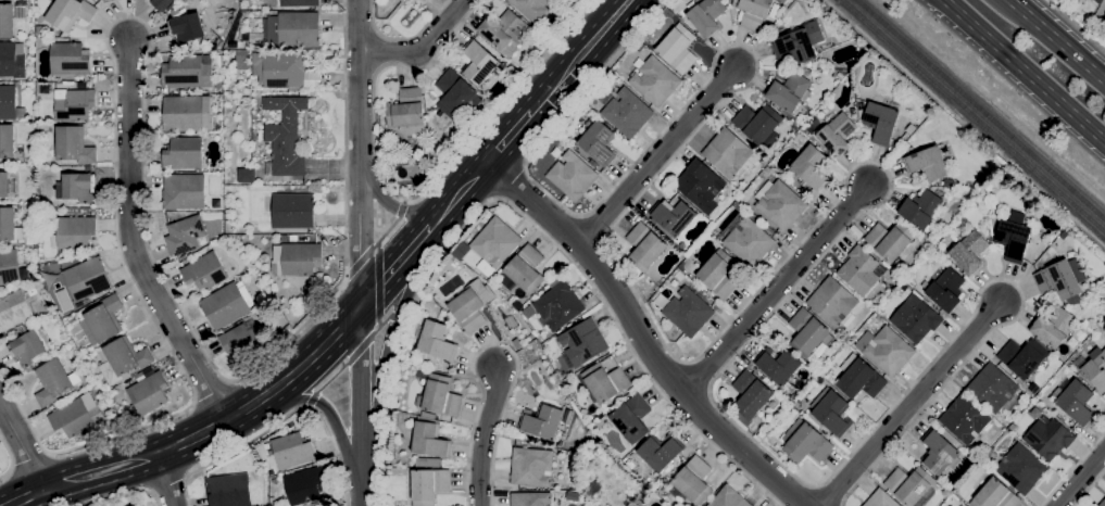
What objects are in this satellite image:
building: (100, 0)
building: (176, 0)
building: (401, 0)
building: (423, 0)
building: (108, 1)
building: (418, 1)
building: (781, 1)
building: (1097, 2)
building: (298, 3)
building: (576, 3)
building: (164, 4)
building: (536, 8)
building: (20, 10)
building: (774, 11)
building: (70, 13)
building: (753, 13)
building: (705, 16)
road: (922, 18)
building: (7, 21)
building: (777, 23)
road: (1076, 25)
building: (186, 29)
building: (298, 29)
building: (541, 29)
building: (504, 30)
road: (403, 39)
road: (1057, 40)
building: (799, 42)
road: (422, 48)
building: (677, 49)
road: (579, 55)
building: (10, 59)
building: (68, 60)
building: (478, 62)
building: (279, 69)
building: (188, 72)
building: (512, 72)
road: (1021, 72)
building: (839, 76)
building: (654, 81)
road: (143, 89)
building: (789, 92)
building: (453, 93)
building: (9, 104)
building: (74, 105)
railway: (980, 110)
building: (626, 113)
building: (183, 114)
building: (406, 114)
railway: (972, 116)
building: (877, 121)
building: (757, 123)
building: (836, 135)
building: (252, 136)
building: (284, 137)
road: (507, 137)
building: (7, 142)
building: (599, 143)
building: (74, 146)
road: (359, 153)
building: (727, 153)
building: (184, 154)
road: (656, 155)
building: (926, 164)
building: (811, 168)
building: (768, 169)
building: (246, 176)
building: (572, 176)
road: (505, 182)
building: (5, 185)
building: (76, 187)
building: (700, 187)
building: (184, 192)
road: (457, 193)
road: (404, 202)
road: (402, 203)
building: (779, 204)
road: (392, 206)
building: (920, 208)
building: (292, 211)
building: (673, 216)
road: (528, 222)
building: (9, 225)
road: (814, 227)
building: (73, 232)
building: (185, 235)
building: (284, 238)
building: (292, 238)
building: (1013, 238)
road: (378, 240)
building: (746, 240)
road: (131, 241)
building: (889, 241)
building: (494, 242)
building: (29, 243)
building: (644, 246)
building: (461, 251)
building: (969, 252)
building: (184, 257)
building: (296, 258)
road: (394, 266)
building: (11, 268)
building: (525, 269)
building: (858, 270)
building: (204, 273)
building: (718, 274)
road: (347, 276)
building: (679, 276)
building: (87, 279)
building: (1057, 280)
building: (507, 283)
road: (379, 284)
road: (776, 290)
building: (945, 290)
building: (32, 291)
building: (831, 302)
building: (558, 304)
building: (472, 305)
building: (224, 306)
building: (47, 307)
building: (14, 311)
building: (528, 313)
building: (688, 313)
building: (102, 320)
road: (405, 321)
building: (915, 321)
building: (1053, 327)
building: (807, 333)
road: (640, 336)
road: (391, 337)
building: (242, 340)
building: (436, 341)
building: (582, 342)
road: (494, 344)
road: (341, 349)
building: (26, 350)
building: (889, 352)
building: (84, 353)
road: (354, 355)
building: (1021, 357)
building: (122, 359)
building: (1079, 363)
building: (778, 365)
building: (1095, 369)
building: (858, 378)
building: (53, 382)
building: (604, 382)
building: (769, 383)
building: (994, 390)
building: (147, 395)
building: (439, 397)
building: (750, 397)
building: (1076, 402)
road: (909, 404)
road: (361, 406)
road: (307, 407)
road: (326, 409)
building: (832, 414)
building: (427, 416)
building: (75, 418)
building: (630, 418)
building: (965, 419)
road: (280, 420)
building: (542, 423)
road: (201, 434)
road: (485, 435)
building: (761, 435)
building: (429, 439)
building: (1049, 439)
building: (804, 442)
road: (22, 447)
building: (290, 451)
building: (660, 452)
building: (938, 452)
road: (10, 459)
road: (30, 461)
building: (427, 463)
building: (530, 467)
building: (1020, 469)
road: (1071, 469)
road: (1080, 478)
road: (166, 480)
building: (664, 480)
building: (691, 482)
building: (909, 485)
building: (304, 486)
building: (428, 486)
road: (1089, 488)
building: (228, 491)
building: (994, 495)
road: (128, 496)
building: (530, 498)
building: (727, 498)
building: (880, 499)
building: (1102, 503)
building: (314, 504)

